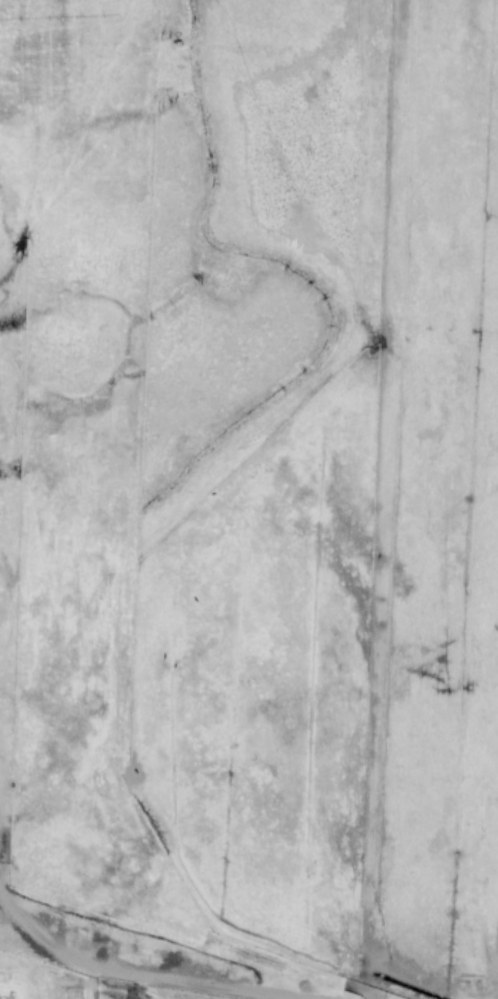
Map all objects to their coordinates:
road: (103, 962)

